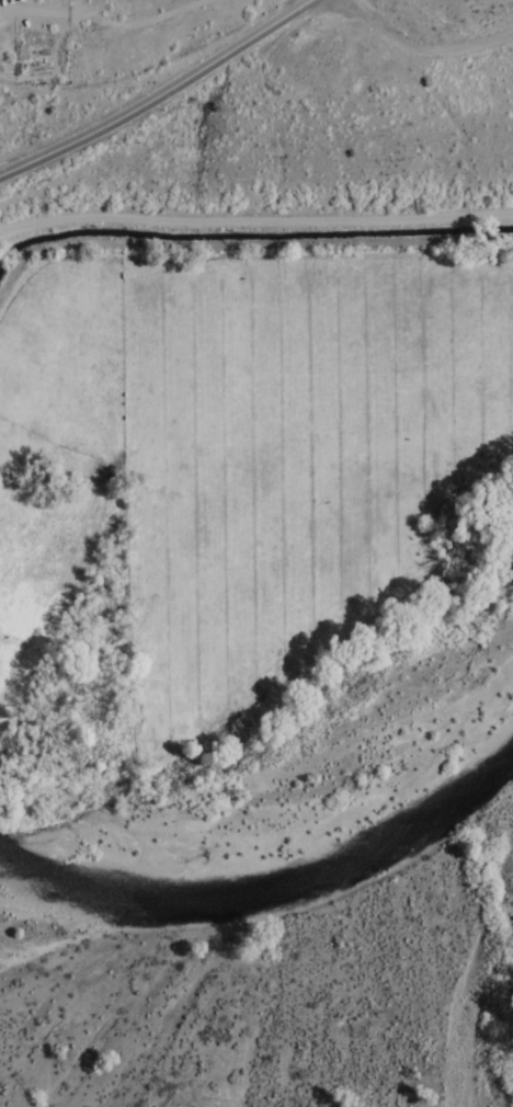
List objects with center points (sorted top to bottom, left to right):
road: (116, 52)
road: (160, 96)
road: (256, 271)
river: (237, 724)

